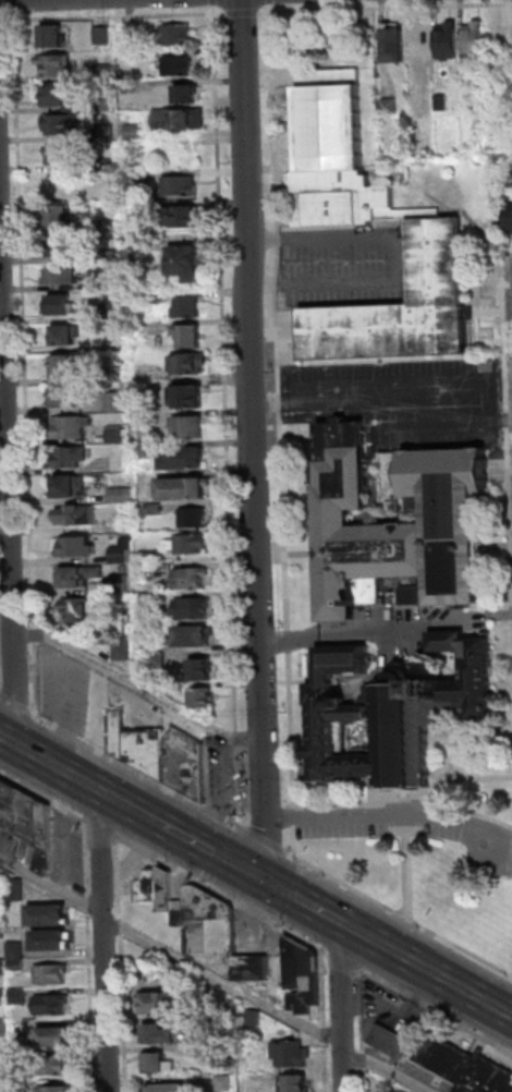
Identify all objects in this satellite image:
road: (8, 0)
road: (214, 2)
road: (14, 7)
road: (234, 13)
road: (117, 16)
road: (3, 20)
building: (176, 34)
building: (53, 35)
building: (102, 35)
building: (475, 39)
building: (449, 40)
building: (422, 41)
building: (397, 43)
building: (58, 64)
building: (179, 65)
building: (103, 73)
building: (186, 93)
building: (58, 95)
building: (103, 101)
building: (441, 102)
building: (417, 105)
building: (391, 106)
building: (180, 119)
building: (64, 124)
building: (134, 132)
building: (107, 133)
building: (64, 155)
building: (109, 165)
building: (511, 174)
building: (138, 178)
building: (61, 184)
building: (181, 185)
building: (110, 193)
building: (368, 213)
building: (61, 215)
building: (181, 216)
building: (510, 217)
building: (110, 225)
building: (141, 240)
building: (65, 245)
building: (111, 255)
road: (400, 260)
building: (187, 262)
building: (65, 274)
building: (141, 299)
building: (60, 304)
building: (190, 307)
building: (112, 310)
building: (66, 335)
building: (192, 335)
building: (113, 347)
building: (191, 363)
road: (26, 364)
building: (73, 366)
parking lot: (375, 369)
building: (68, 397)
building: (192, 397)
building: (114, 402)
road: (380, 402)
road: (507, 412)
road: (228, 418)
building: (145, 420)
building: (72, 426)
building: (193, 426)
building: (117, 436)
road: (249, 440)
building: (146, 449)
building: (74, 456)
building: (186, 458)
building: (69, 486)
building: (185, 489)
building: (122, 496)
road: (5, 507)
building: (156, 510)
building: (76, 515)
building: (456, 517)
building: (195, 519)
building: (193, 544)
building: (77, 546)
building: (123, 551)
building: (154, 557)
building: (125, 569)
building: (151, 570)
building: (75, 577)
building: (192, 579)
building: (122, 584)
building: (413, 595)
building: (151, 600)
road: (4, 603)
building: (74, 607)
building: (194, 609)
road: (383, 627)
building: (194, 636)
building: (123, 645)
building: (151, 645)
building: (159, 660)
building: (204, 670)
road: (135, 684)
parking lot: (64, 690)
building: (204, 699)
road: (14, 704)
building: (393, 712)
building: (142, 747)
building: (187, 764)
road: (62, 772)
road: (138, 772)
road: (45, 797)
building: (0, 809)
road: (142, 815)
road: (388, 817)
building: (29, 822)
road: (102, 829)
parking lot: (397, 834)
road: (270, 844)
road: (211, 853)
road: (219, 858)
road: (407, 869)
traffic signals: (265, 882)
building: (149, 886)
building: (19, 890)
building: (167, 891)
road: (285, 891)
road: (222, 894)
road: (304, 903)
building: (1, 905)
building: (181, 913)
building: (49, 917)
road: (402, 918)
building: (2, 934)
road: (364, 936)
building: (220, 937)
building: (53, 941)
road: (99, 941)
building: (16, 950)
road: (87, 955)
road: (341, 959)
building: (17, 966)
building: (2, 968)
building: (51, 974)
road: (217, 976)
building: (304, 978)
road: (447, 982)
road: (321, 985)
building: (20, 996)
building: (3, 998)
building: (164, 1004)
building: (53, 1005)
road: (342, 1008)
road: (359, 1010)
road: (434, 1010)
building: (256, 1018)
building: (223, 1024)
building: (4, 1028)
building: (20, 1030)
road: (321, 1032)
building: (159, 1034)
building: (56, 1038)
building: (390, 1041)
building: (219, 1054)
building: (291, 1054)
building: (22, 1056)
building: (3, 1058)
road: (363, 1059)
building: (160, 1064)
building: (54, 1066)
building: (464, 1066)
road: (322, 1067)
road: (362, 1080)
building: (223, 1083)
building: (295, 1083)
building: (4, 1085)
building: (21, 1085)
building: (169, 1088)
building: (60, 1089)
building: (395, 1091)

